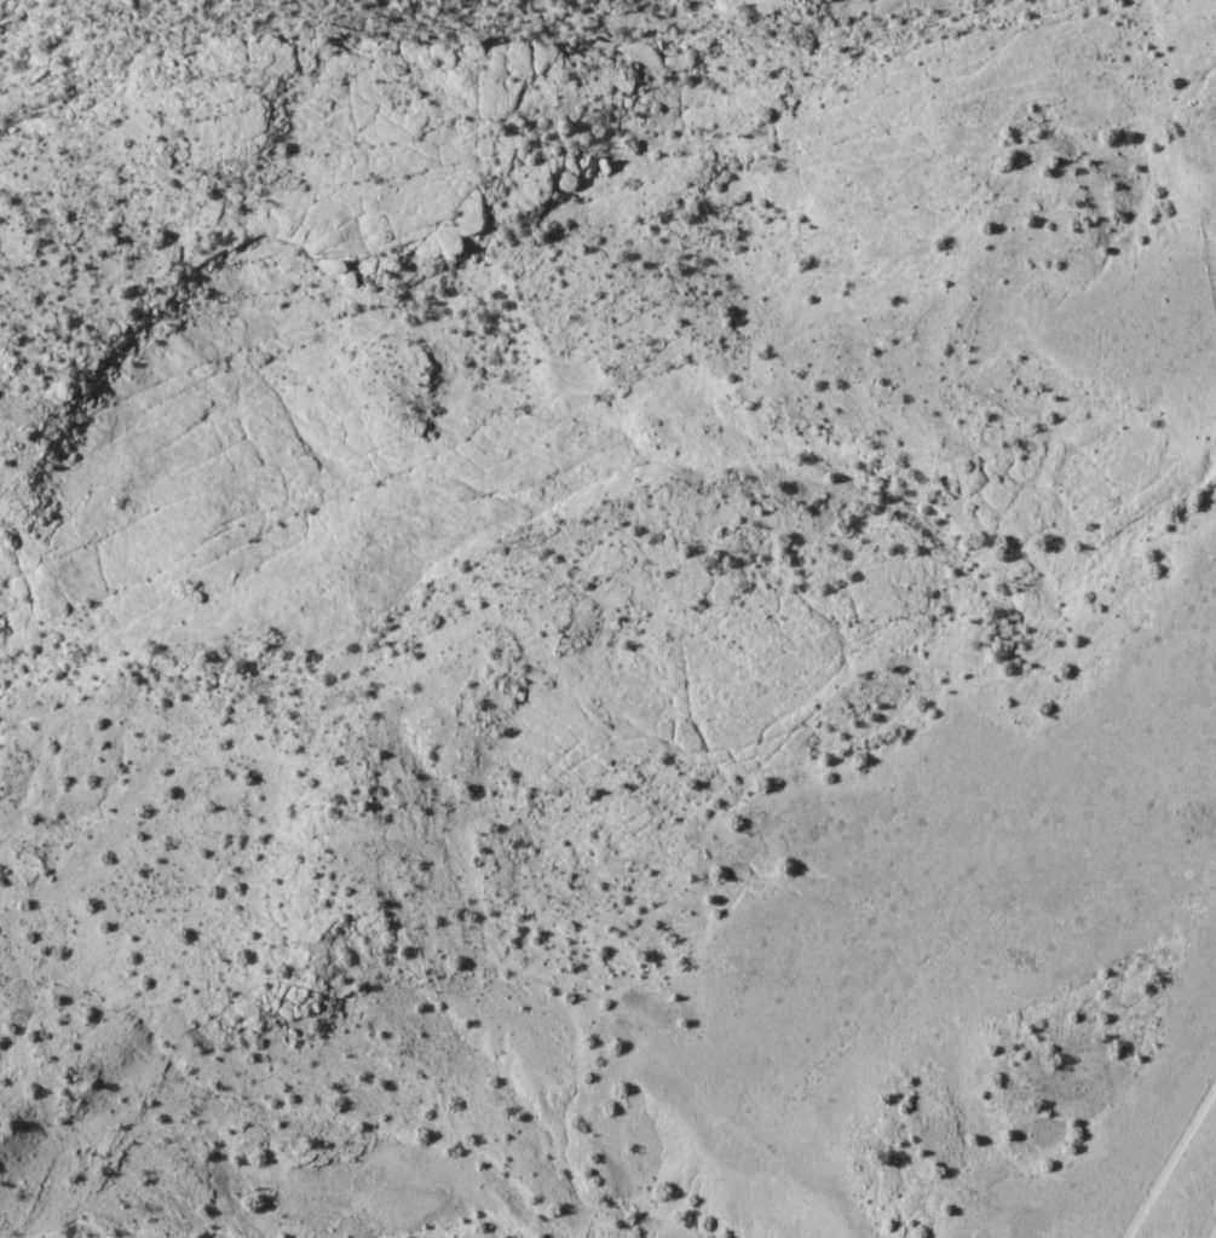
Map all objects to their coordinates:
road: (1170, 1157)

